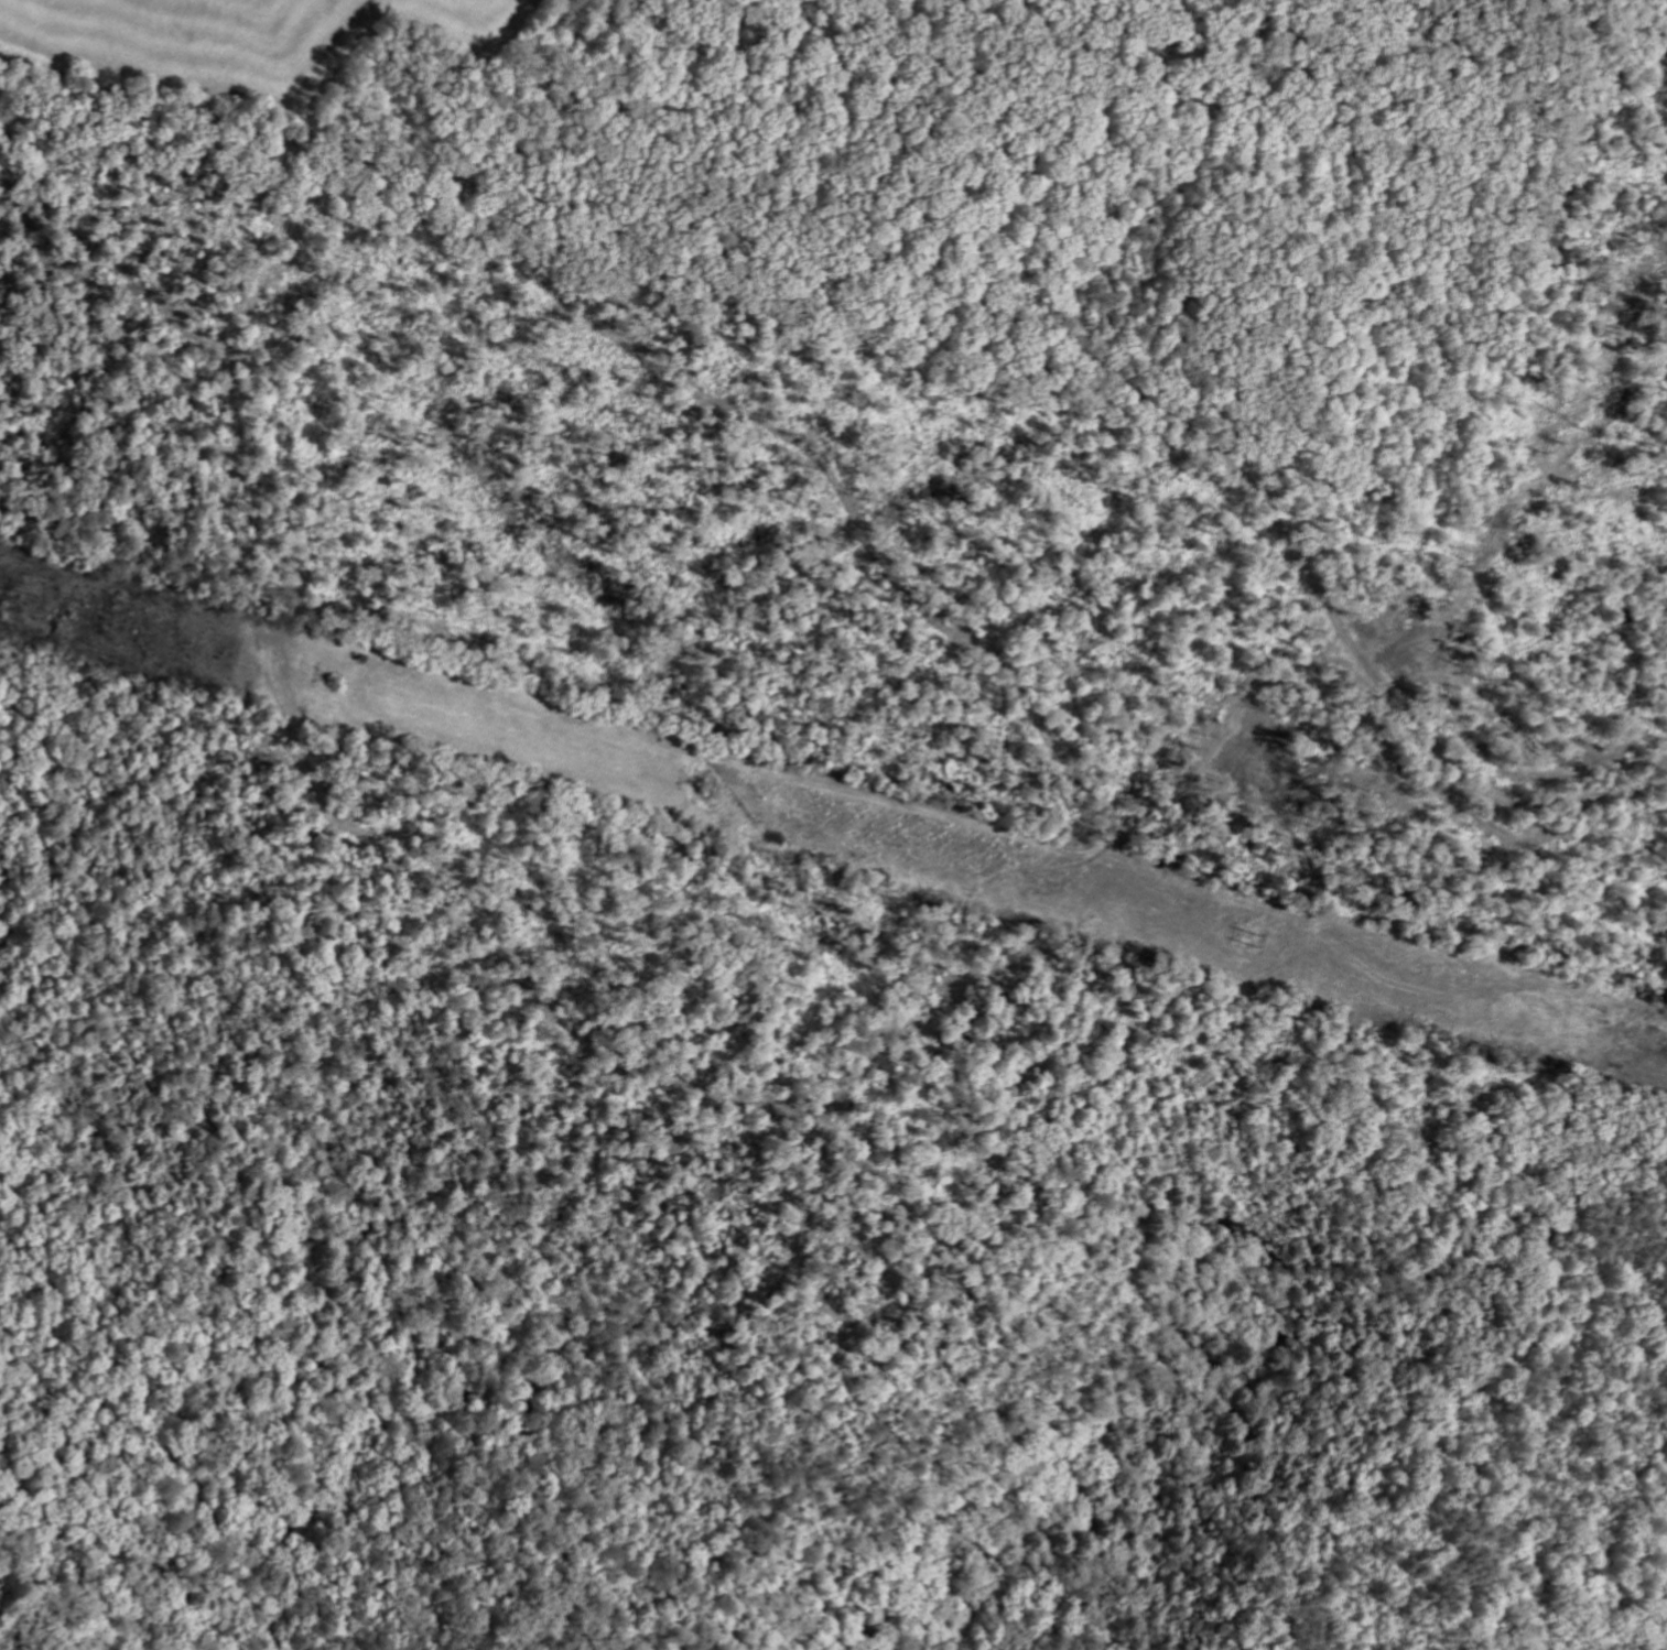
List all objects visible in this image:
road: (913, 293)

